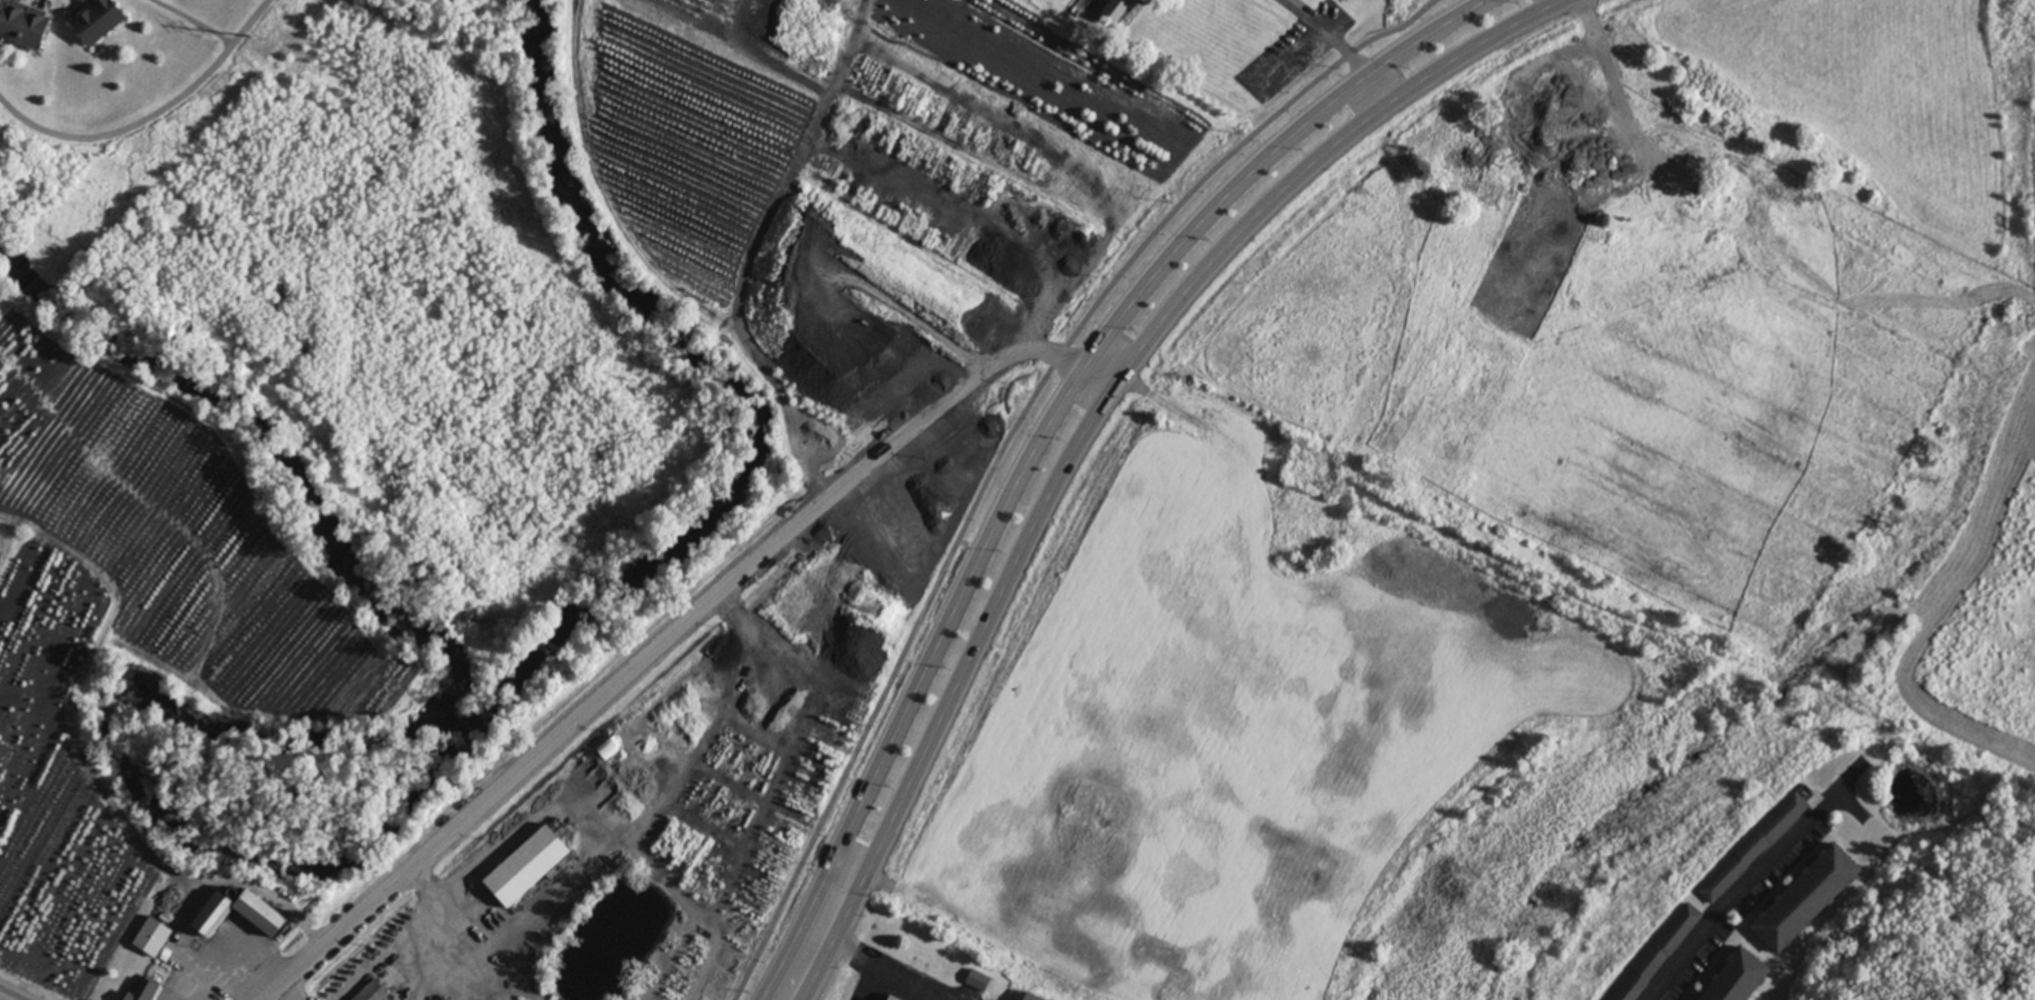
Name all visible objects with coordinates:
building: (1118, 11)
park: (477, 19)
building: (97, 20)
road: (187, 22)
building: (23, 26)
power tower: (254, 37)
road: (1335, 45)
road: (1611, 80)
road: (150, 115)
building: (1779, 232)
park: (3, 276)
road: (1088, 423)
road: (1042, 434)
road: (1007, 439)
crop: (1969, 485)
road: (675, 633)
river: (535, 662)
road: (69, 727)
crop: (1305, 727)
building: (608, 751)
building: (1753, 850)
building: (527, 868)
road: (1753, 885)
road: (195, 895)
building: (1805, 901)
building: (261, 917)
road: (434, 934)
building: (153, 940)
road: (232, 954)
building: (1659, 954)
road: (871, 962)
building: (1738, 979)
building: (976, 981)
road: (193, 985)
building: (145, 991)
road: (293, 991)
building: (373, 993)
building: (1026, 998)
road: (0, 999)
building: (888, 999)

